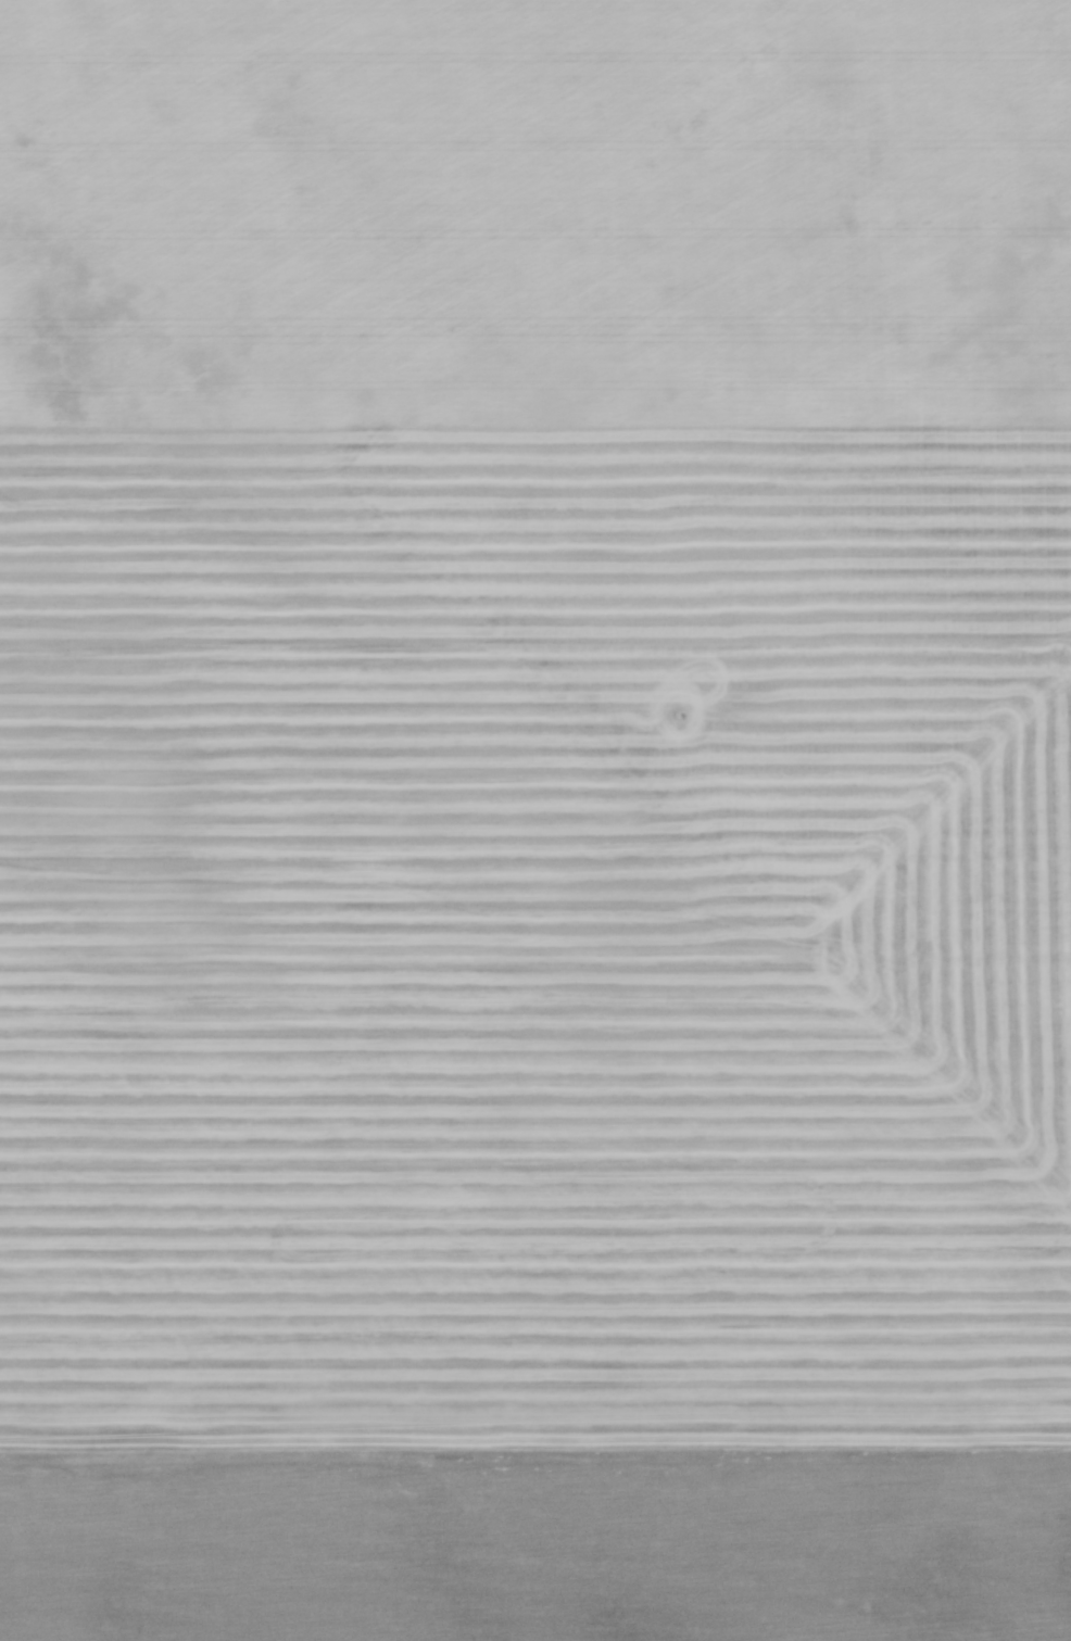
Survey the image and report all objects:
crop: (535, 820)

